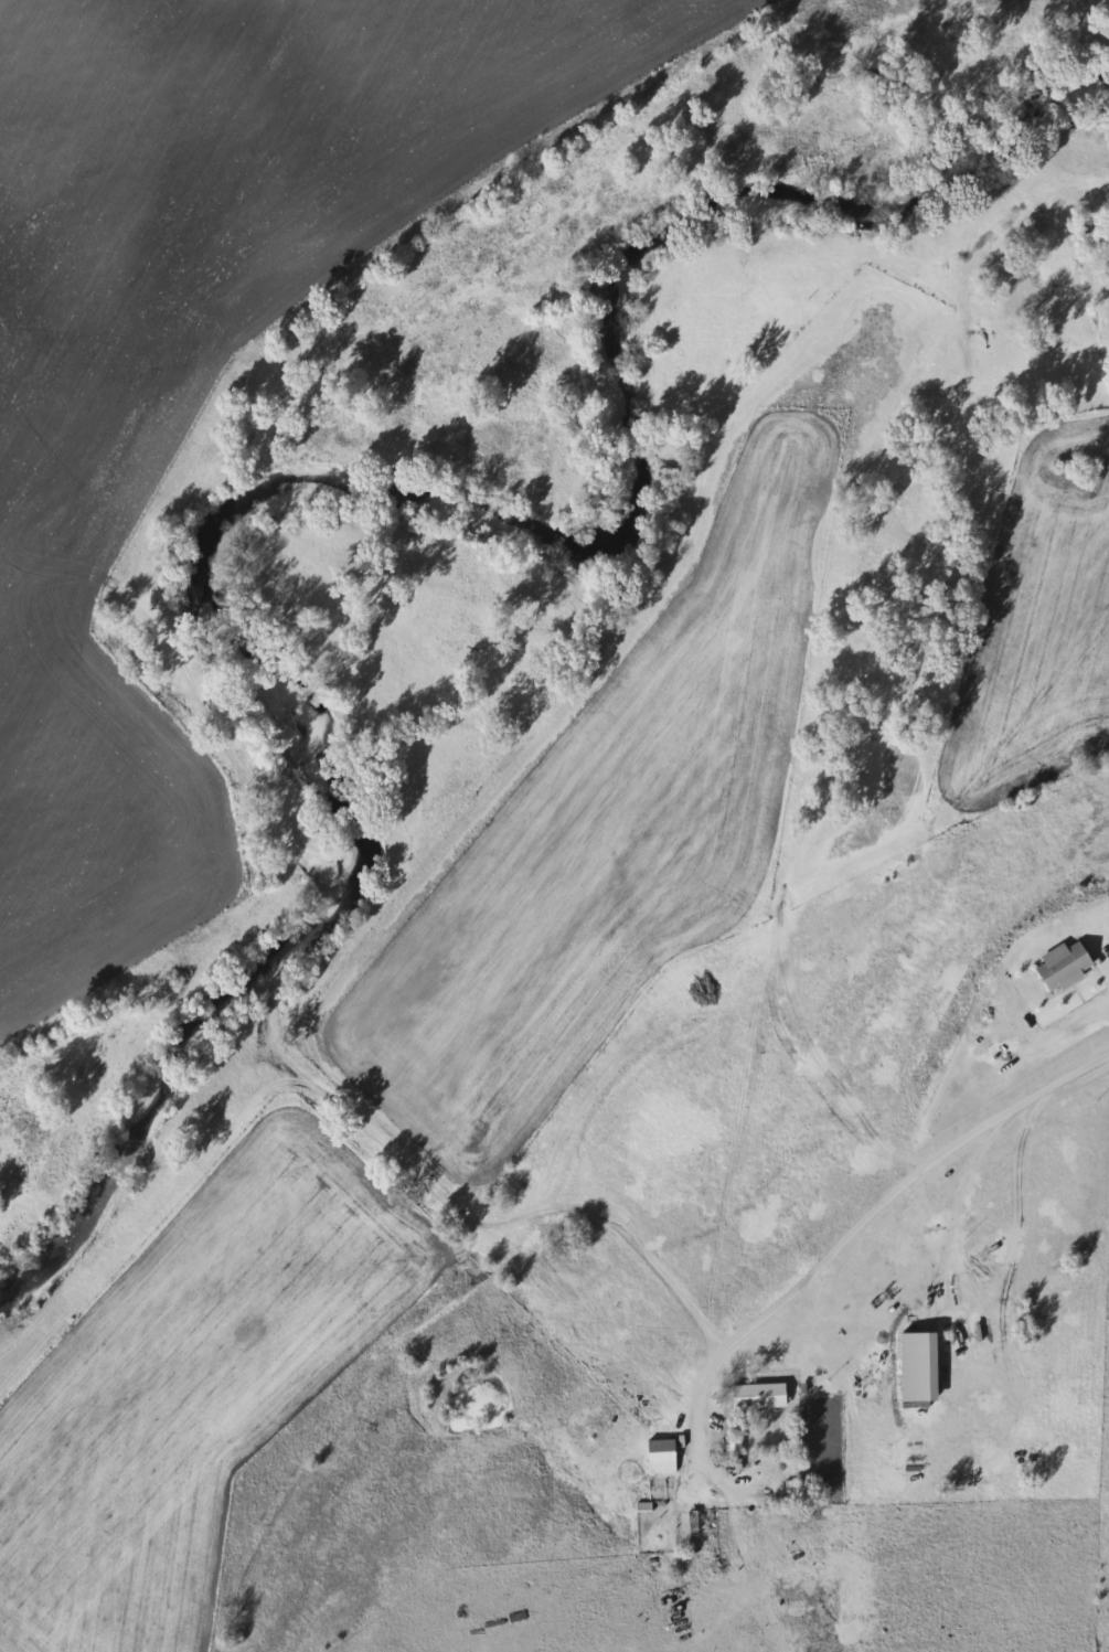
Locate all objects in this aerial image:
river: (366, 478)
road: (886, 1195)
building: (755, 1397)
building: (731, 1446)
building: (659, 1458)
building: (702, 1532)

